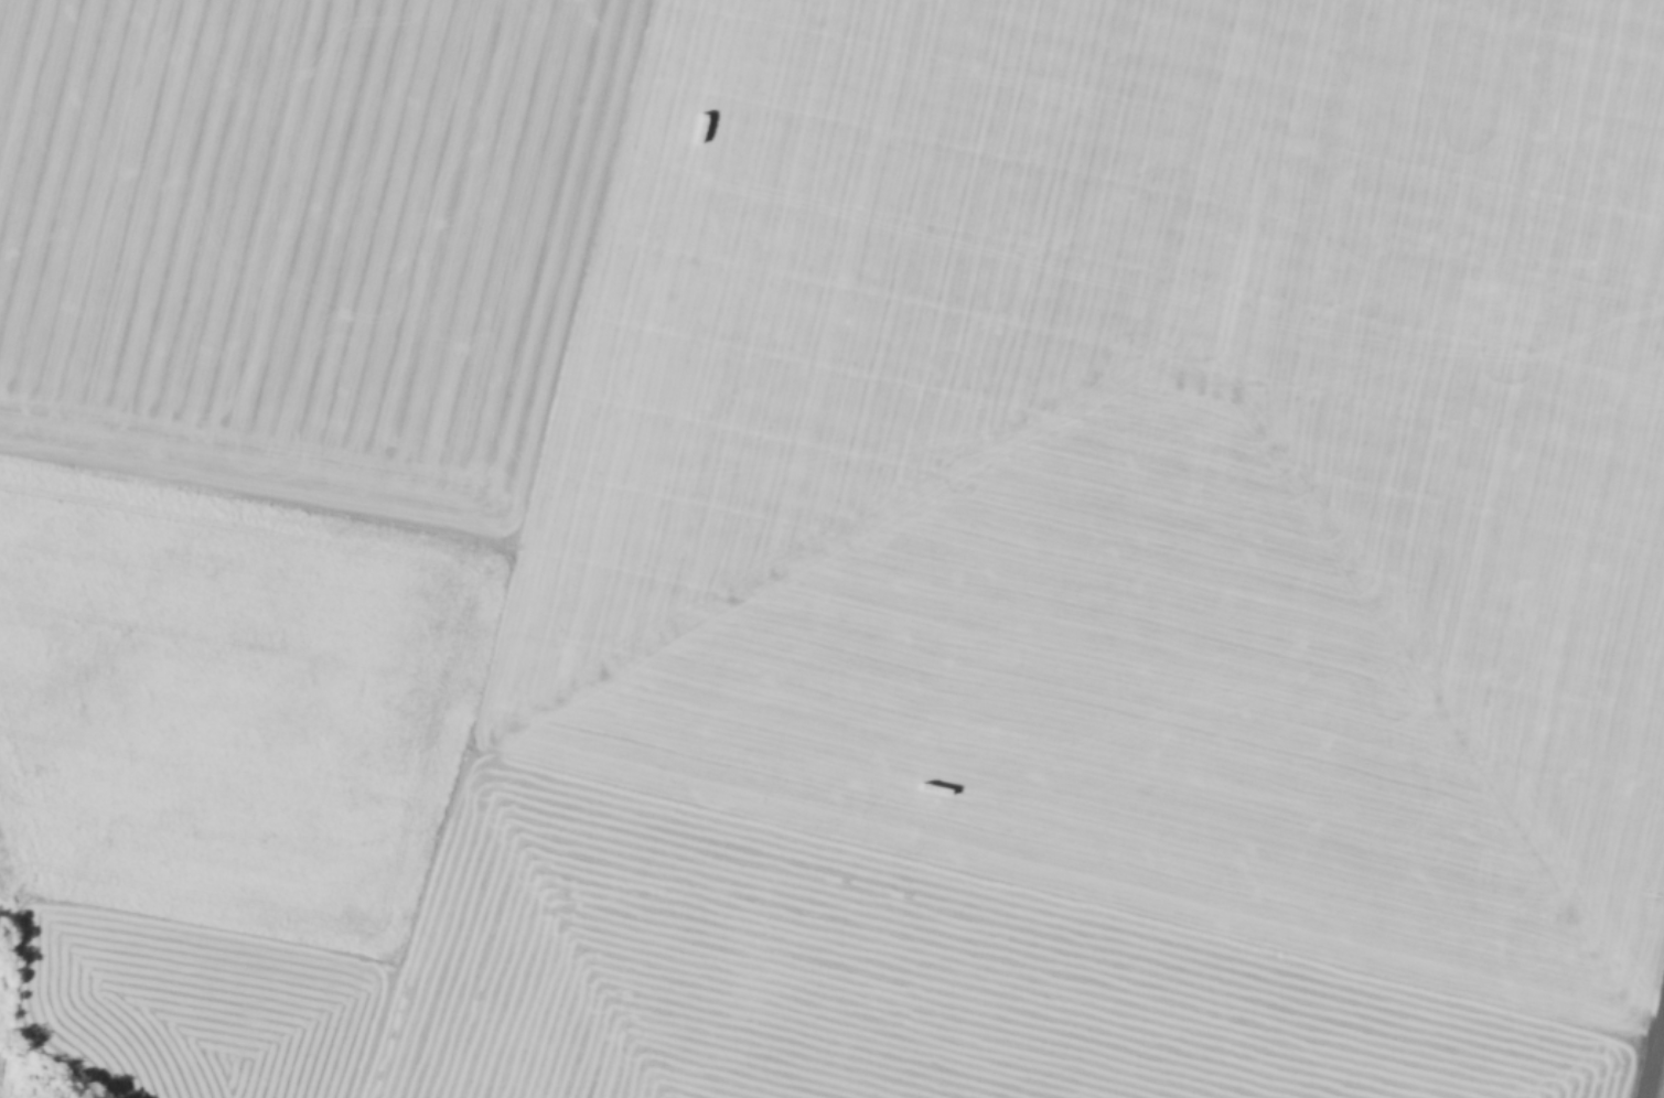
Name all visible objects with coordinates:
crop: (301, 240)
crop: (1136, 463)
crop: (877, 977)
road: (1652, 1048)
crop: (1661, 1085)

